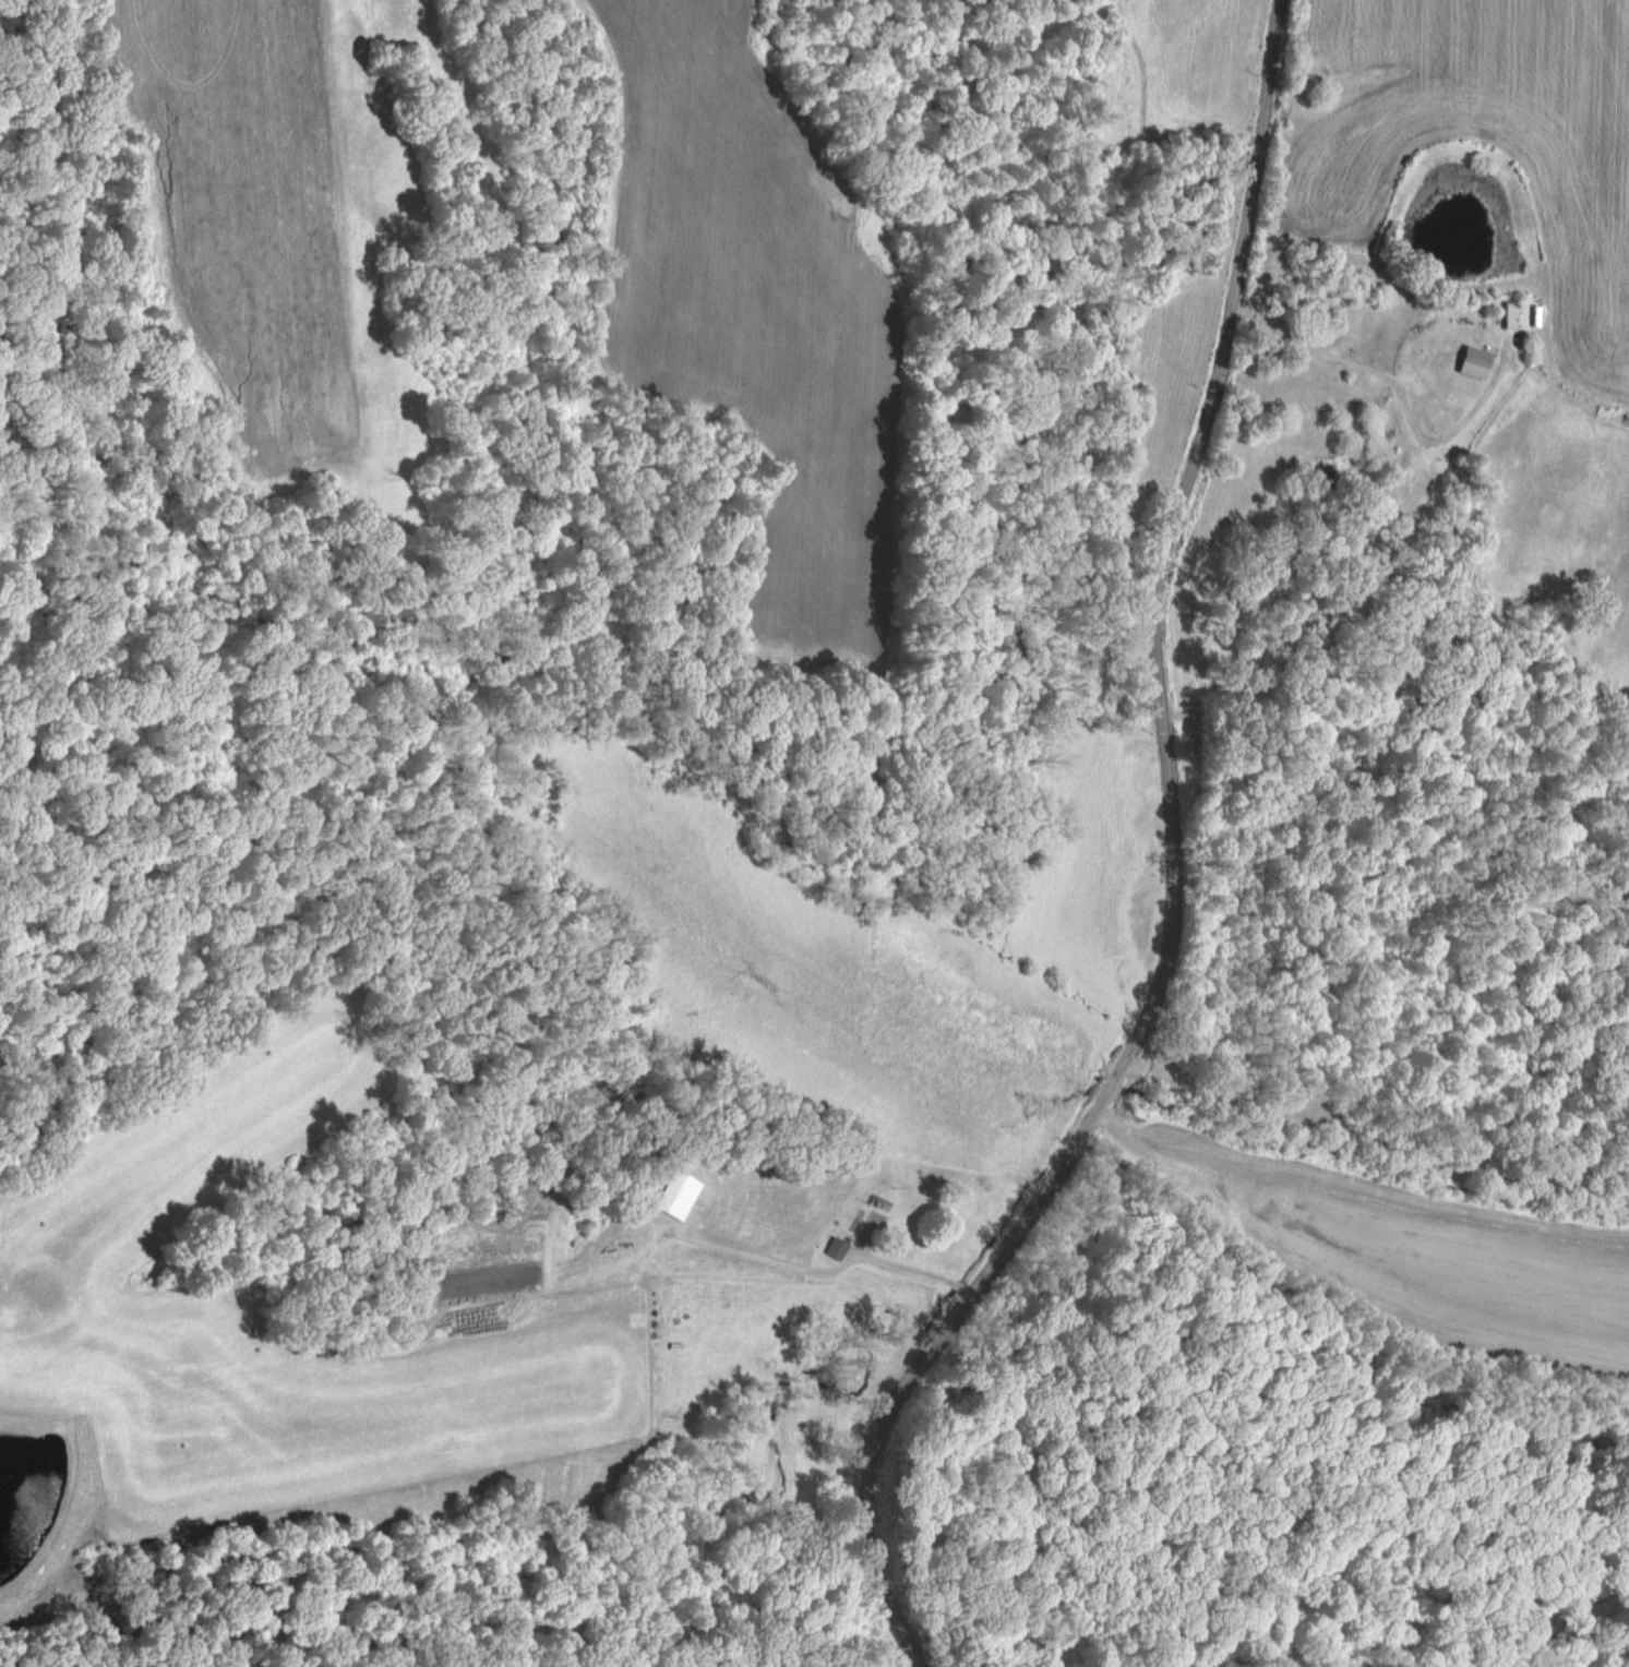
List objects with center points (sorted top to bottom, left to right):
building: (1519, 308)
building: (1474, 361)
road: (1393, 400)
road: (1161, 868)
building: (678, 1192)
road: (1354, 1212)
building: (836, 1246)
road: (831, 1269)

